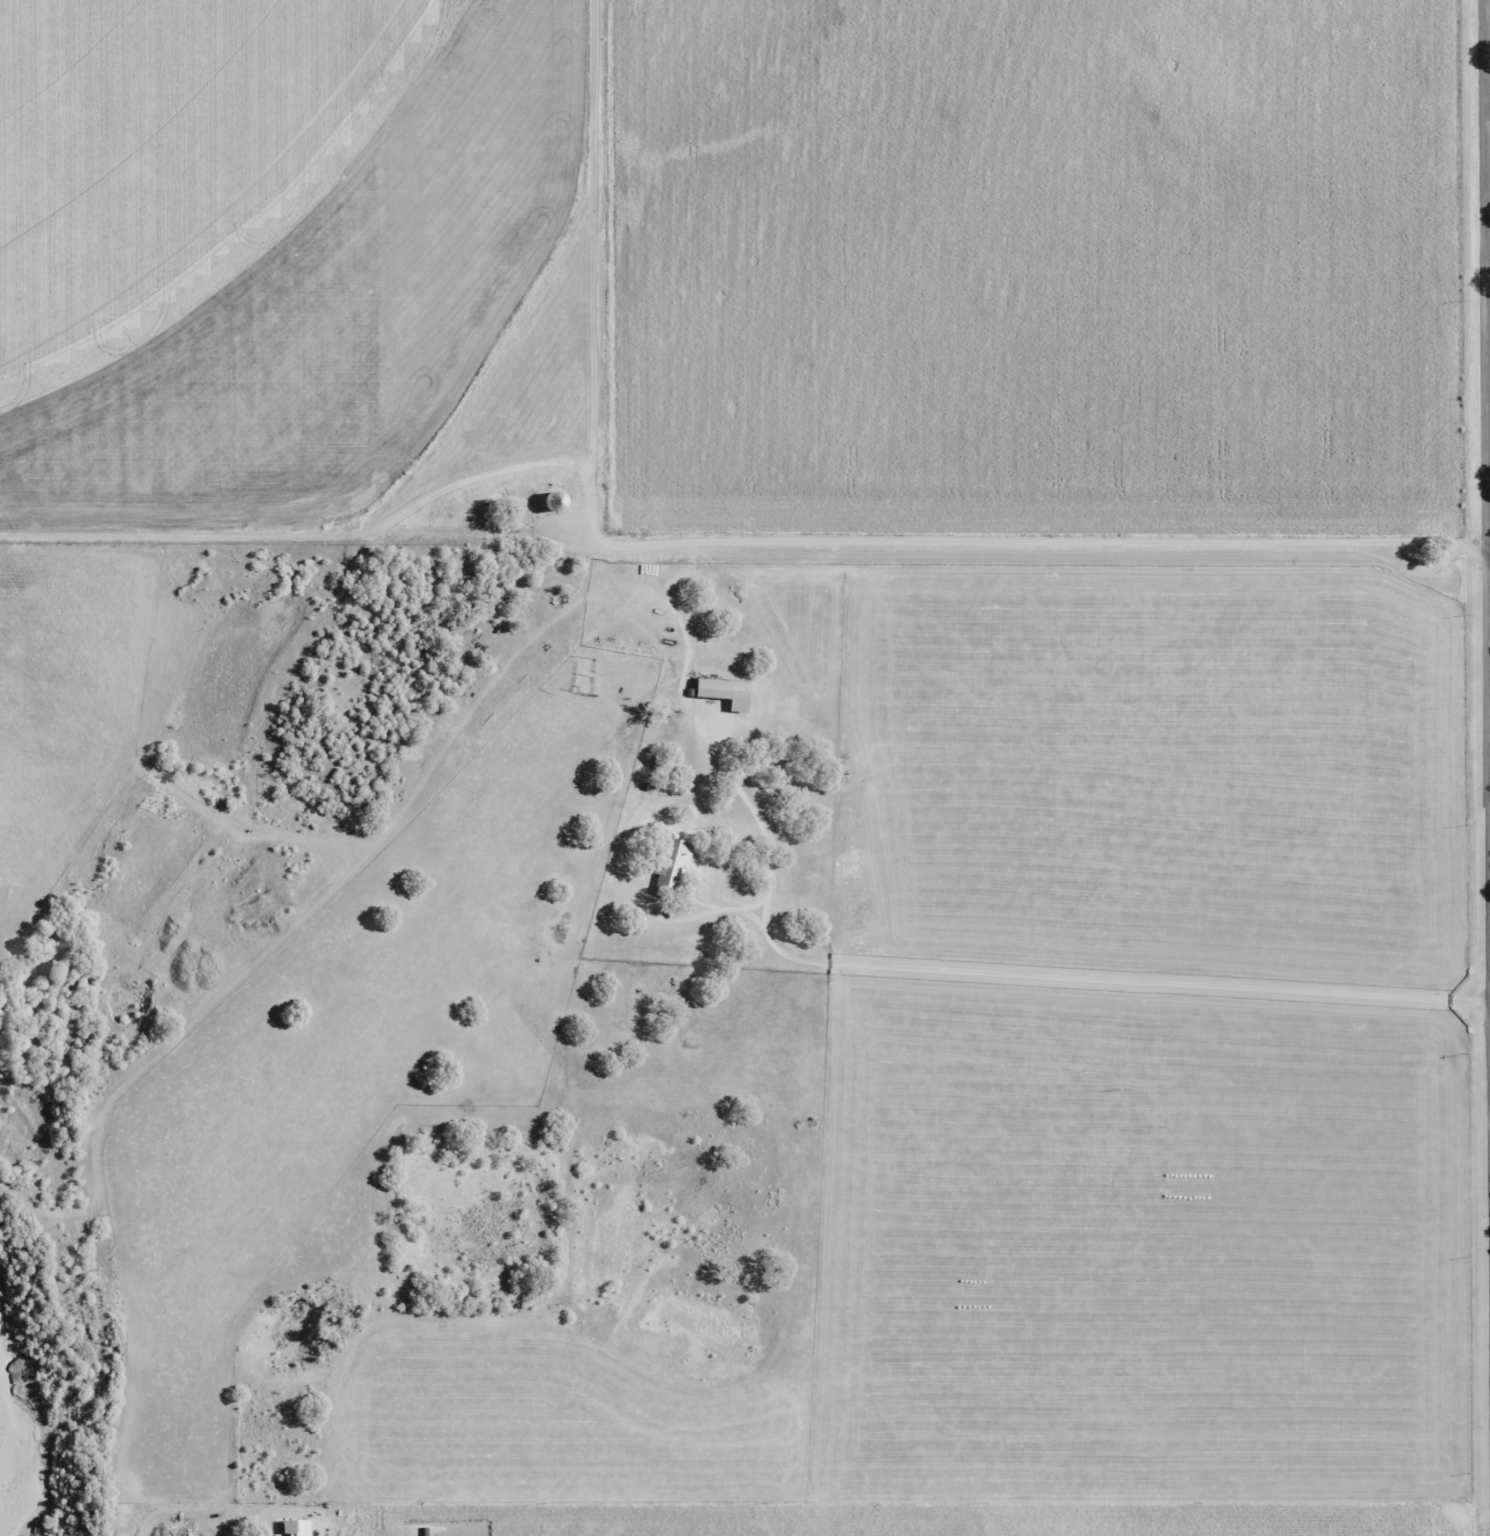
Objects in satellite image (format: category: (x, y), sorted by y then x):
road: (605, 275)
road: (1486, 459)
road: (663, 550)
building: (723, 692)
building: (669, 866)
road: (1010, 978)

